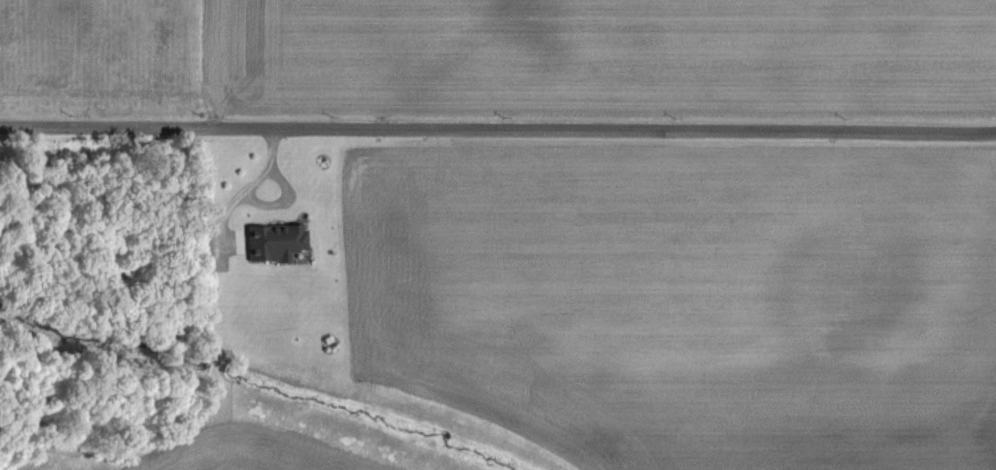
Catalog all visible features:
crop: (613, 68)
road: (498, 129)
crop: (599, 304)

